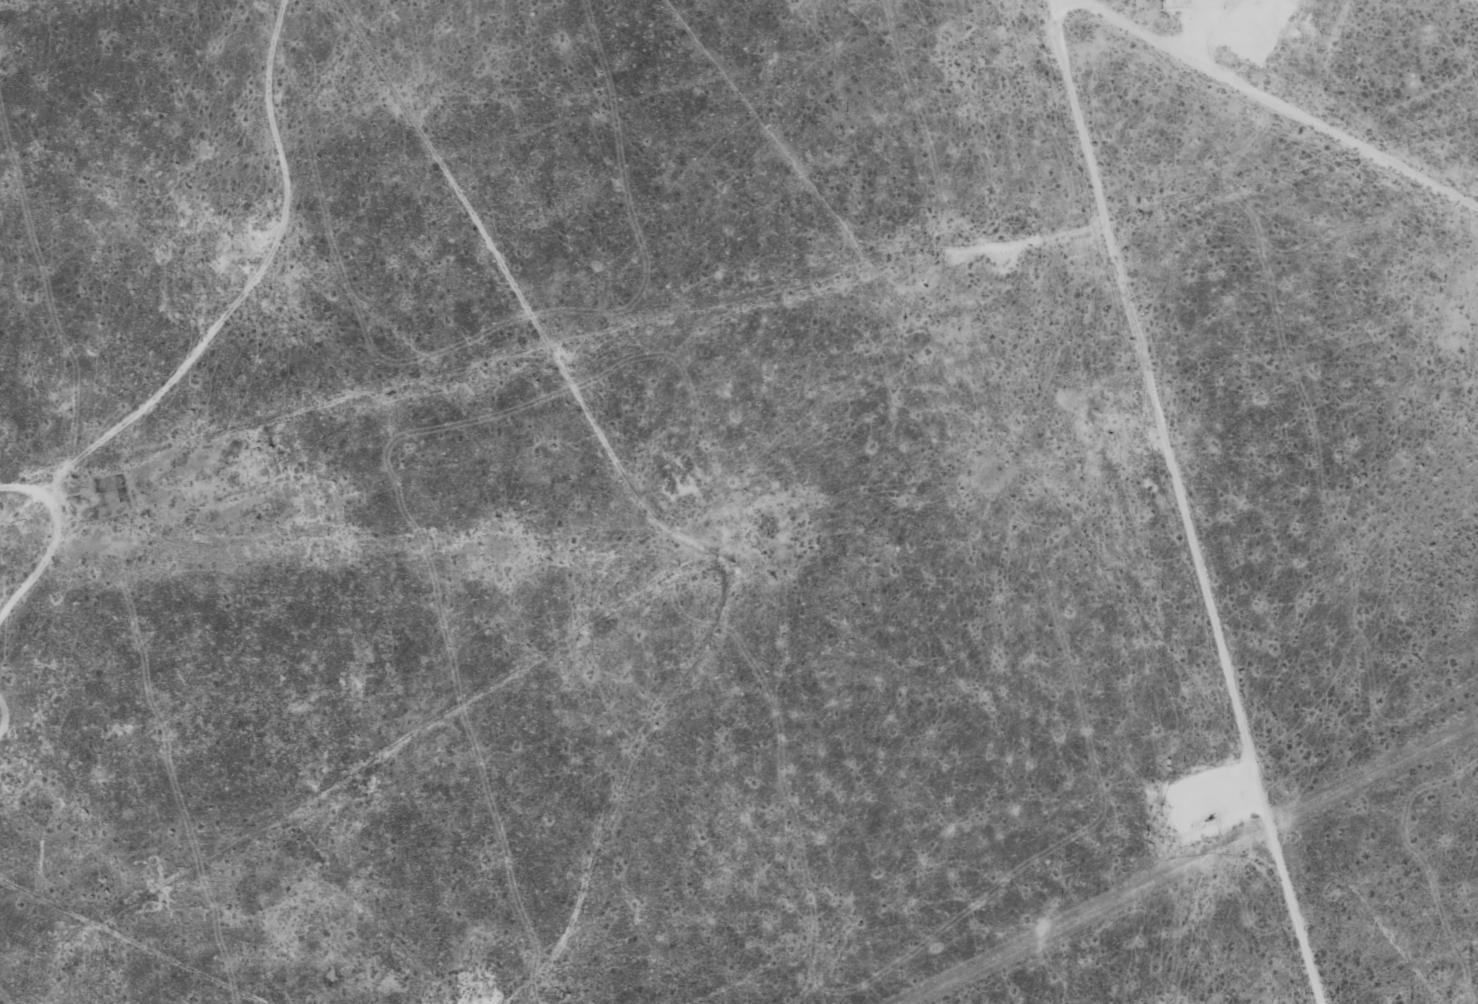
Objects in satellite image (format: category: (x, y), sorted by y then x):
road: (1300, 92)

